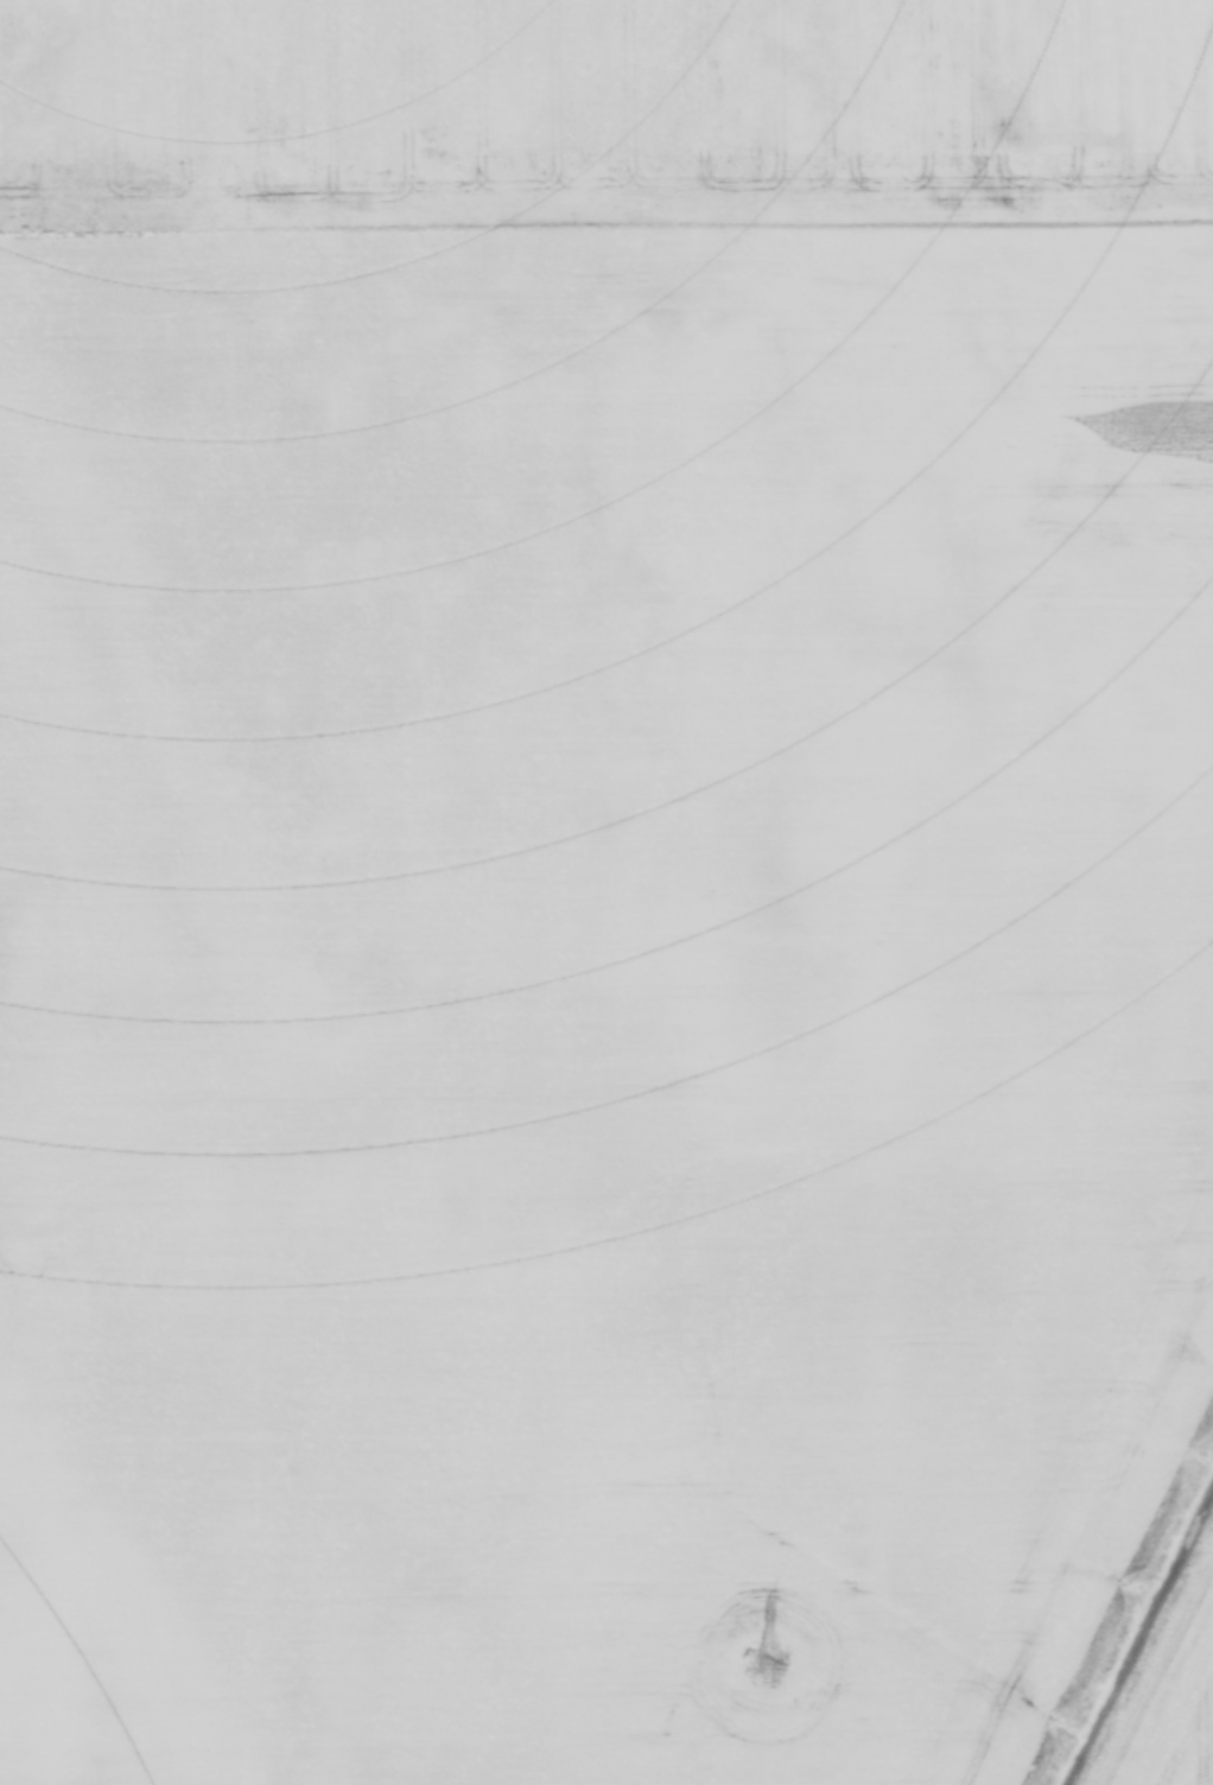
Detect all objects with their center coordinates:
power tower: (760, 1662)

